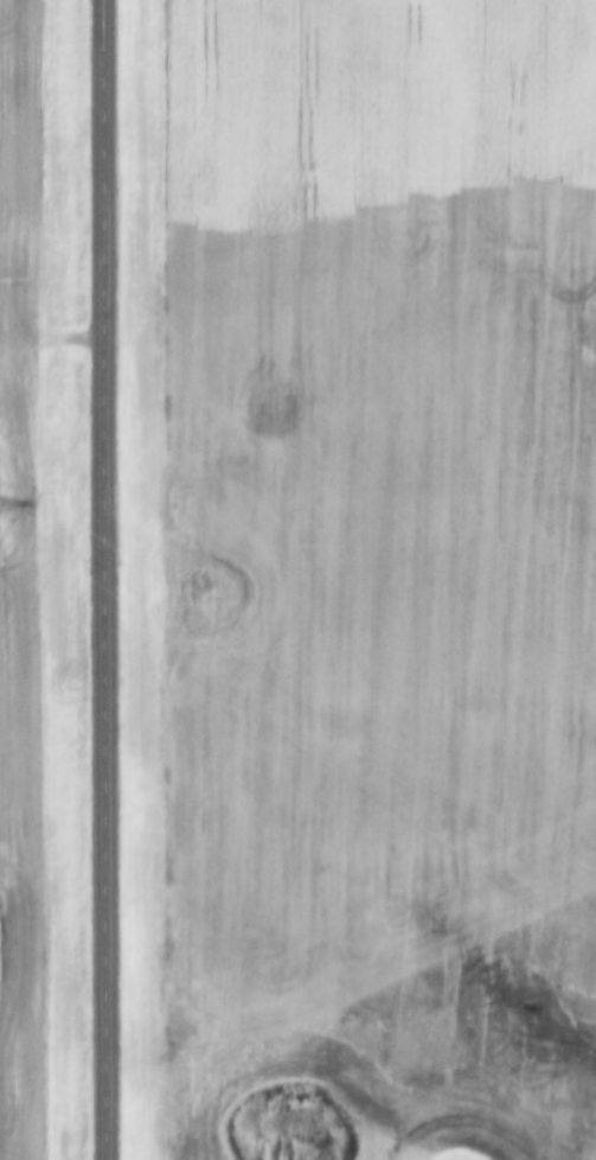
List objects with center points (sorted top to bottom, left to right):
road: (104, 580)

